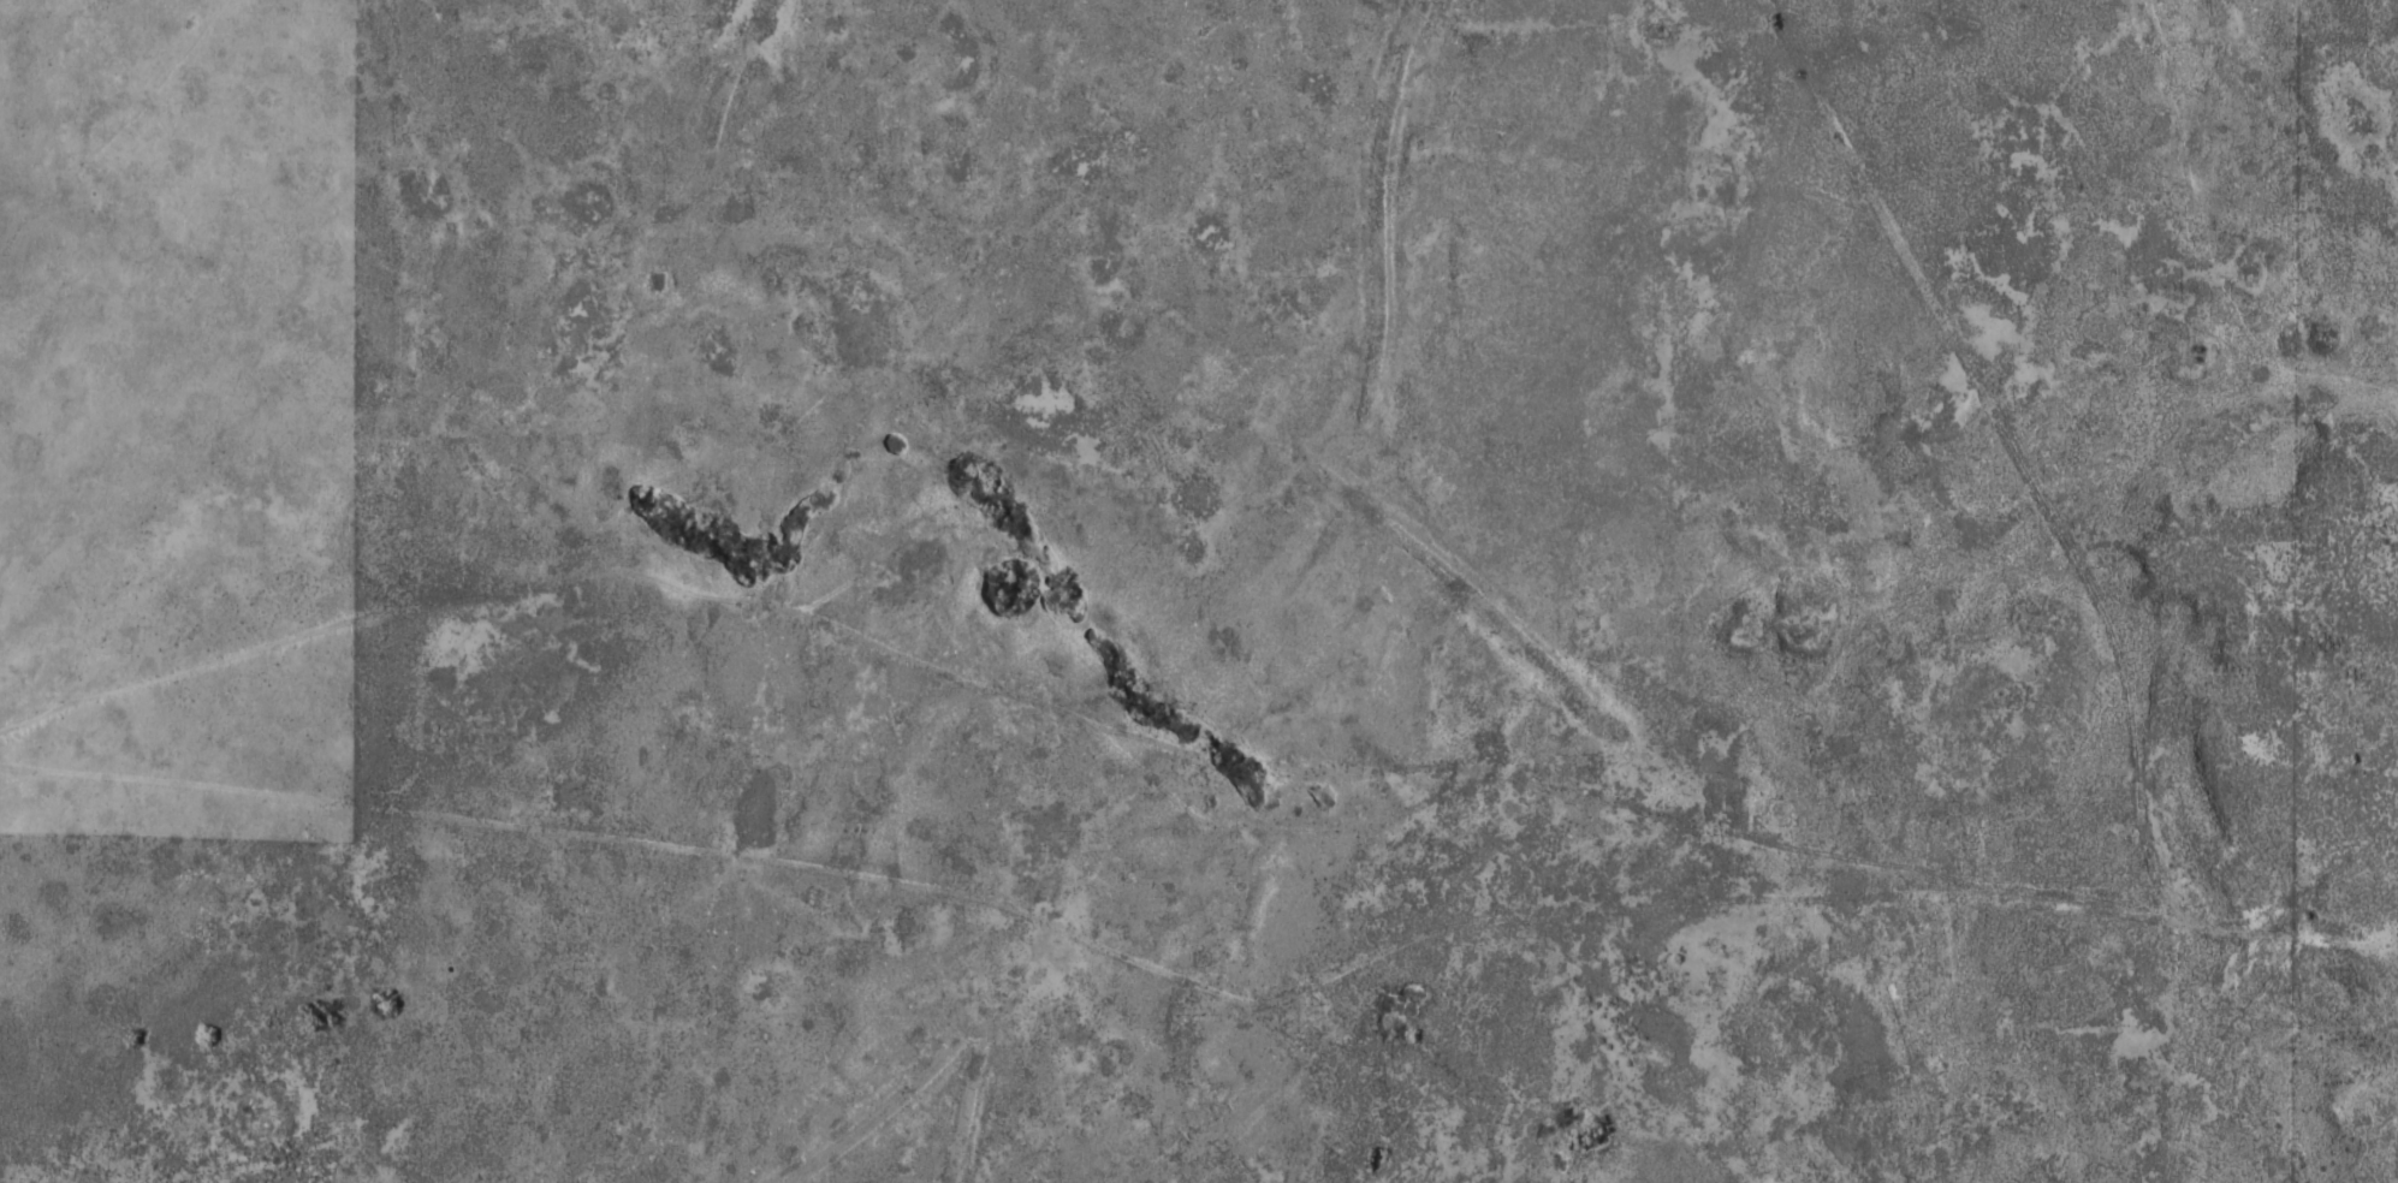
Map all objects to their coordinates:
road: (1970, 457)
road: (1186, 947)
road: (2394, 1154)

